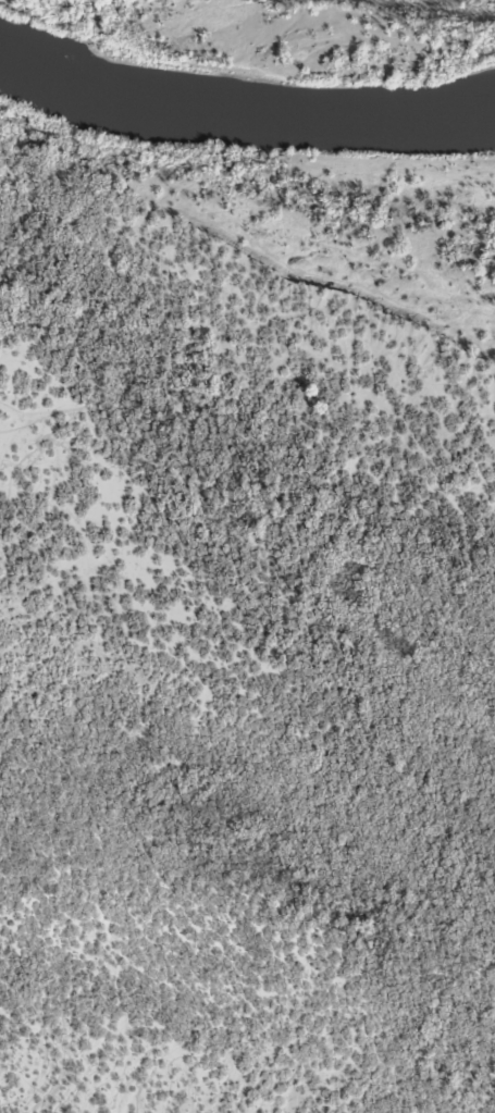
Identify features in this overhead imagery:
river: (370, 26)
river: (86, 41)

